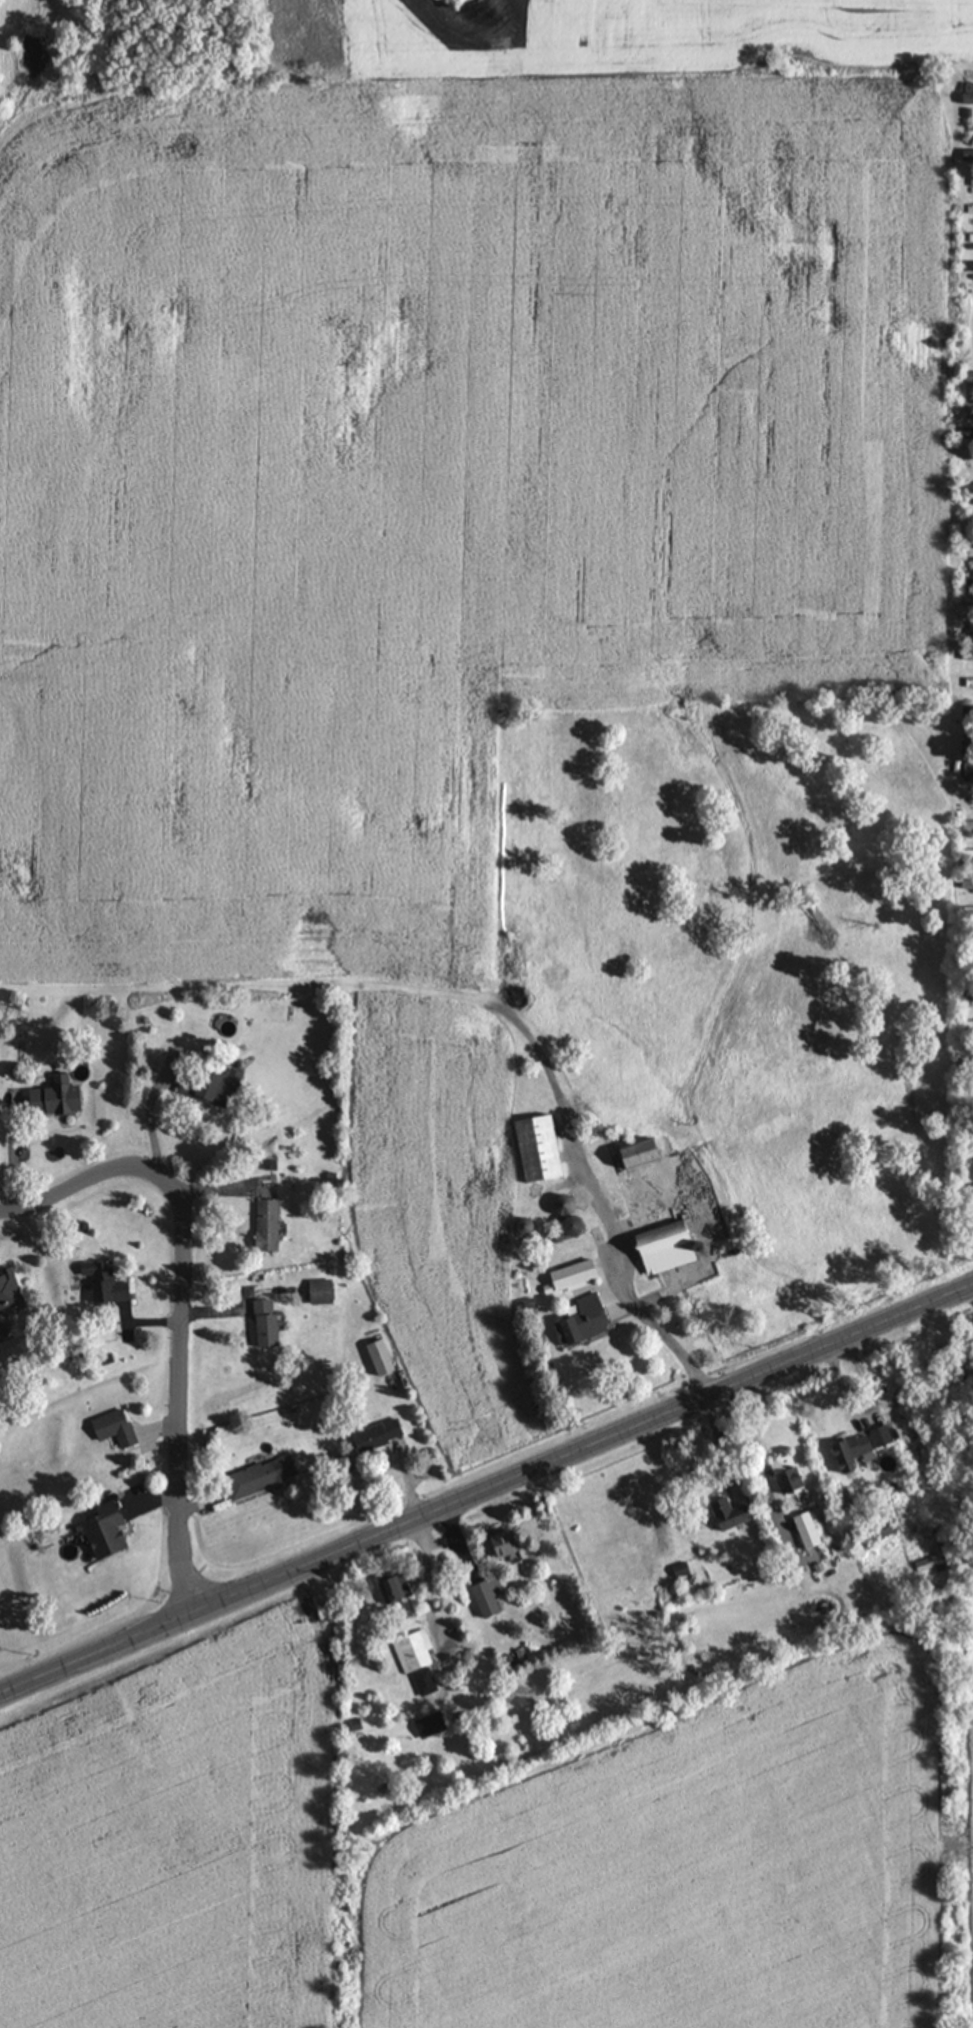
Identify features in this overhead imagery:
building: (965, 98)
building: (970, 127)
building: (965, 156)
building: (968, 183)
building: (968, 211)
building: (969, 239)
building: (967, 268)
building: (967, 377)
building: (967, 407)
building: (968, 434)
building: (967, 488)
building: (971, 519)
building: (970, 545)
building: (971, 574)
building: (967, 602)
building: (971, 656)
building: (968, 684)
building: (965, 770)
building: (965, 827)
building: (964, 885)
building: (965, 1029)
building: (964, 1055)
building: (215, 1085)
building: (60, 1096)
road: (149, 1105)
building: (545, 1147)
building: (650, 1151)
building: (623, 1205)
building: (272, 1224)
building: (579, 1225)
building: (682, 1238)
building: (580, 1274)
road: (616, 1277)
building: (110, 1282)
building: (11, 1290)
building: (326, 1291)
road: (185, 1297)
building: (589, 1320)
building: (270, 1322)
building: (386, 1357)
road: (870, 1413)
building: (119, 1427)
building: (381, 1435)
road: (721, 1439)
building: (858, 1451)
road: (751, 1452)
building: (792, 1474)
building: (267, 1475)
road: (485, 1484)
building: (735, 1513)
building: (812, 1529)
building: (113, 1530)
building: (508, 1542)
building: (931, 1562)
building: (399, 1589)
building: (489, 1592)
building: (419, 1659)
building: (434, 1723)
road: (954, 1843)

